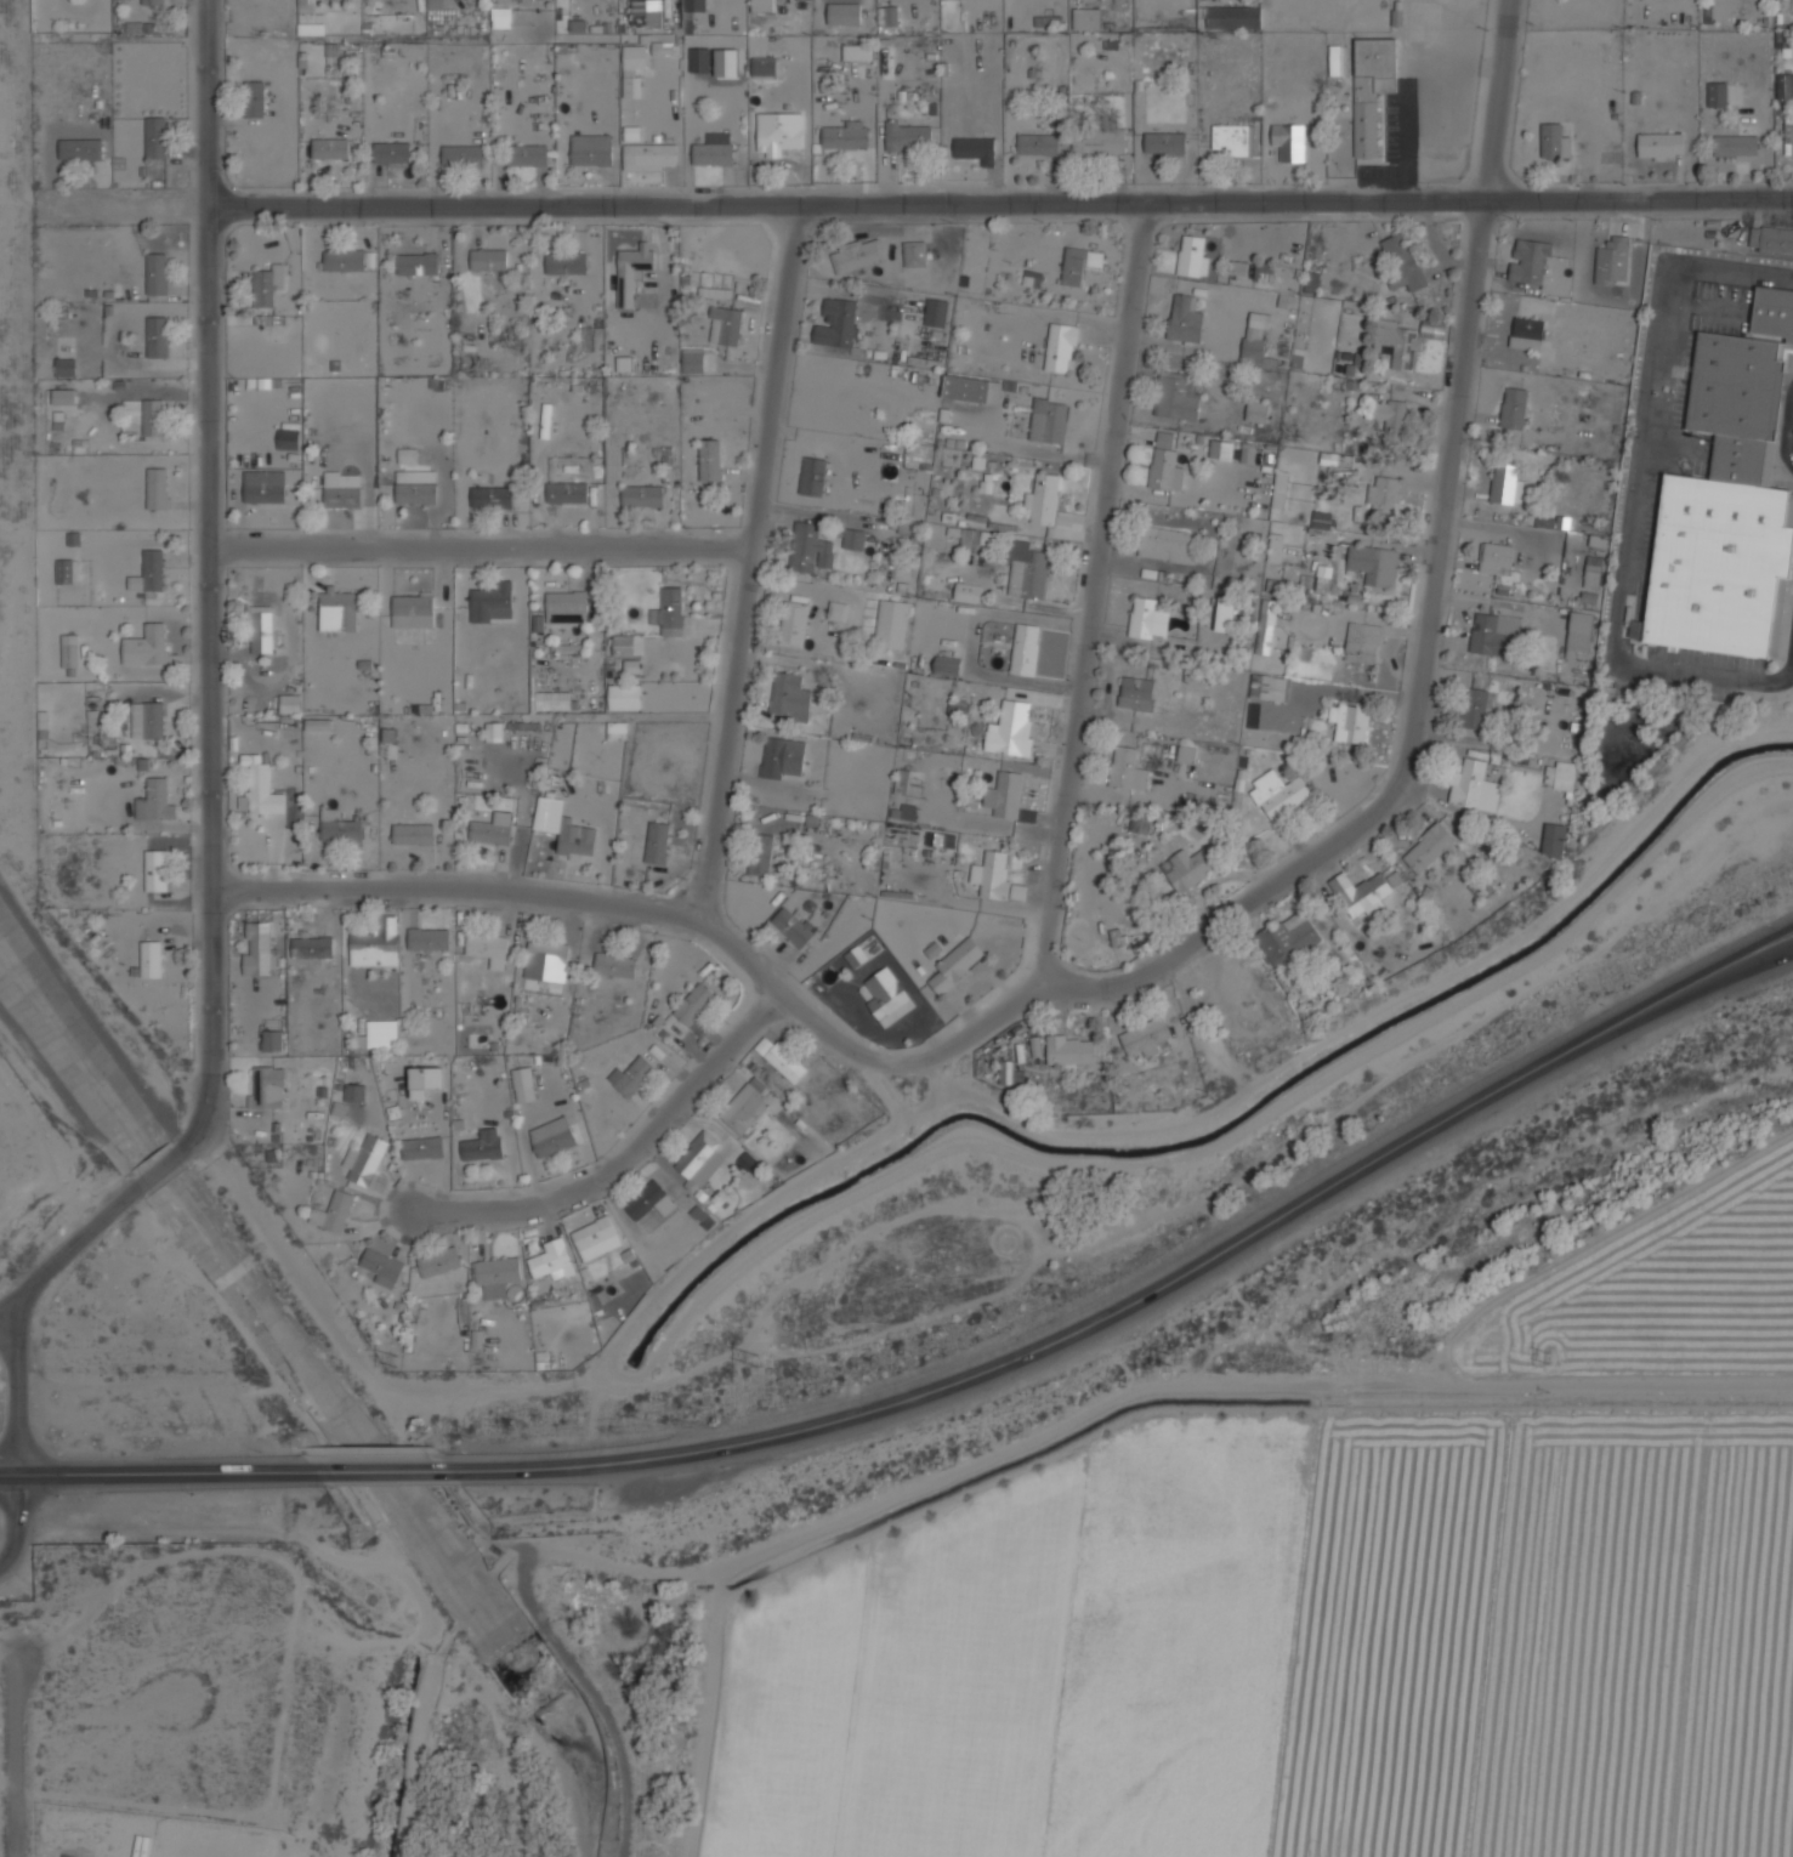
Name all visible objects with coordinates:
building: (436, 4)
building: (762, 5)
building: (696, 6)
building: (844, 12)
building: (648, 13)
building: (887, 15)
building: (1233, 16)
building: (501, 17)
building: (1086, 17)
building: (311, 28)
building: (1782, 39)
building: (857, 50)
building: (700, 58)
building: (1334, 61)
building: (726, 63)
building: (765, 66)
building: (632, 67)
building: (886, 69)
building: (1371, 86)
building: (1786, 86)
building: (1718, 92)
building: (254, 98)
building: (778, 131)
building: (845, 134)
building: (907, 135)
building: (155, 137)
building: (1235, 137)
building: (1789, 137)
building: (1288, 140)
building: (1554, 140)
building: (1165, 141)
building: (1038, 143)
building: (1100, 143)
building: (1661, 144)
building: (1735, 144)
building: (975, 147)
building: (330, 148)
building: (591, 148)
building: (714, 148)
building: (80, 149)
building: (392, 152)
building: (527, 155)
building: (649, 155)
building: (463, 157)
road: (917, 203)
building: (1771, 242)
building: (914, 252)
building: (857, 254)
building: (1192, 255)
building: (345, 260)
building: (488, 260)
building: (1528, 260)
building: (1402, 261)
building: (1611, 261)
building: (418, 263)
building: (566, 263)
building: (1078, 263)
building: (1238, 267)
building: (631, 269)
building: (1264, 271)
building: (157, 273)
building: (267, 284)
building: (716, 291)
parking lot: (1721, 308)
building: (936, 312)
building: (1185, 317)
building: (836, 322)
building: (727, 324)
building: (1527, 333)
building: (157, 336)
building: (1255, 336)
building: (1402, 339)
building: (1061, 346)
building: (694, 359)
building: (64, 367)
building: (972, 387)
building: (1178, 393)
building: (63, 396)
building: (1514, 408)
building: (1258, 410)
building: (153, 418)
building: (1392, 418)
building: (1049, 420)
road: (1789, 438)
building: (288, 439)
building: (1221, 448)
building: (1247, 453)
building: (715, 456)
building: (1164, 468)
building: (812, 476)
building: (1507, 484)
building: (263, 485)
building: (415, 487)
building: (157, 488)
building: (1281, 488)
road: (1635, 488)
building: (341, 489)
building: (567, 492)
building: (643, 494)
building: (1383, 494)
building: (492, 496)
building: (1044, 496)
building: (1729, 501)
building: (1321, 519)
building: (969, 536)
building: (853, 538)
building: (1167, 543)
building: (810, 546)
building: (1275, 546)
road: (481, 555)
building: (1496, 557)
road: (751, 562)
building: (1374, 562)
building: (1026, 568)
building: (63, 570)
building: (149, 572)
building: (1324, 575)
road: (208, 580)
building: (1282, 585)
building: (969, 591)
building: (492, 602)
road: (1432, 602)
building: (561, 607)
building: (339, 609)
building: (670, 609)
building: (838, 609)
building: (413, 611)
building: (1226, 613)
building: (1144, 617)
building: (891, 621)
building: (794, 623)
building: (1266, 625)
building: (260, 629)
building: (1578, 634)
building: (1494, 635)
building: (1362, 641)
building: (625, 644)
building: (146, 646)
building: (1026, 648)
building: (69, 651)
building: (948, 665)
road: (1079, 680)
building: (1269, 686)
building: (1136, 692)
building: (791, 694)
building: (625, 695)
building: (552, 700)
building: (289, 703)
building: (1474, 708)
building: (1253, 715)
building: (1349, 719)
building: (147, 720)
building: (1012, 727)
building: (615, 728)
building: (494, 732)
building: (1187, 753)
building: (784, 757)
building: (1128, 767)
building: (1560, 776)
building: (1009, 793)
building: (1278, 793)
building: (154, 801)
building: (908, 812)
building: (1130, 822)
building: (333, 827)
building: (492, 829)
building: (413, 834)
building: (941, 837)
building: (575, 840)
building: (1554, 840)
building: (657, 841)
building: (1428, 848)
building: (760, 854)
building: (1192, 865)
building: (155, 870)
building: (993, 871)
building: (1364, 893)
road: (590, 901)
building: (794, 925)
building: (1117, 937)
building: (429, 938)
building: (1288, 939)
building: (376, 943)
building: (312, 947)
road: (1782, 947)
building: (260, 948)
building: (488, 948)
road: (1782, 949)
building: (151, 959)
building: (546, 961)
building: (955, 964)
building: (615, 965)
building: (890, 1003)
road: (86, 1006)
building: (694, 1007)
building: (382, 1033)
building: (1146, 1037)
building: (272, 1039)
building: (1068, 1051)
building: (782, 1058)
building: (631, 1075)
building: (425, 1080)
building: (523, 1084)
building: (267, 1087)
building: (353, 1092)
road: (185, 1128)
building: (552, 1136)
building: (482, 1145)
building: (422, 1147)
road: (622, 1157)
building: (364, 1160)
building: (748, 1160)
building: (699, 1163)
road: (159, 1168)
building: (649, 1200)
building: (334, 1211)
building: (704, 1219)
building: (596, 1238)
road: (73, 1246)
building: (551, 1260)
building: (381, 1261)
building: (439, 1261)
building: (497, 1274)
crop: (1662, 1291)
road: (1134, 1297)
road: (4, 1318)
power tower: (1168, 1357)
power tower: (755, 1358)
power tower: (1547, 1358)
road: (18, 1442)
road: (375, 1466)
road: (155, 1470)
crop: (1294, 1652)
road: (18, 1760)
dam: (634, 1817)

